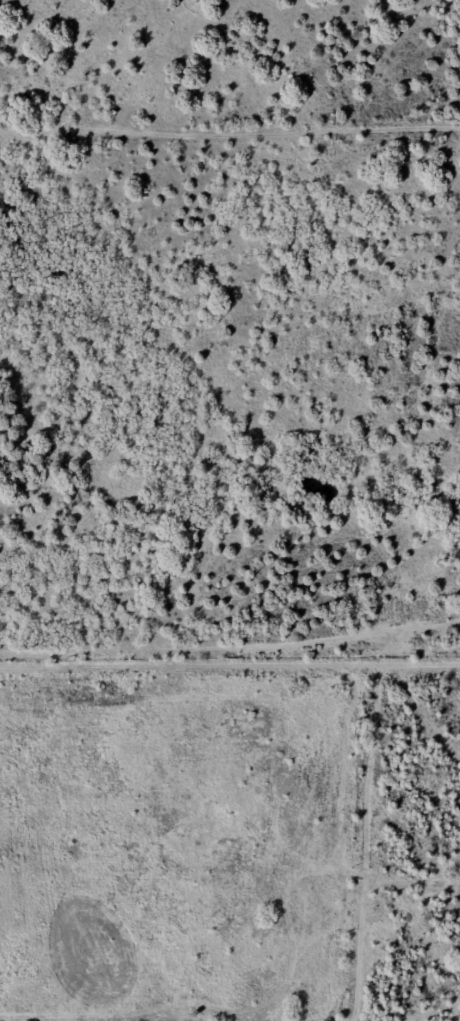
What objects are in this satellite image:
road: (229, 133)
road: (230, 661)

